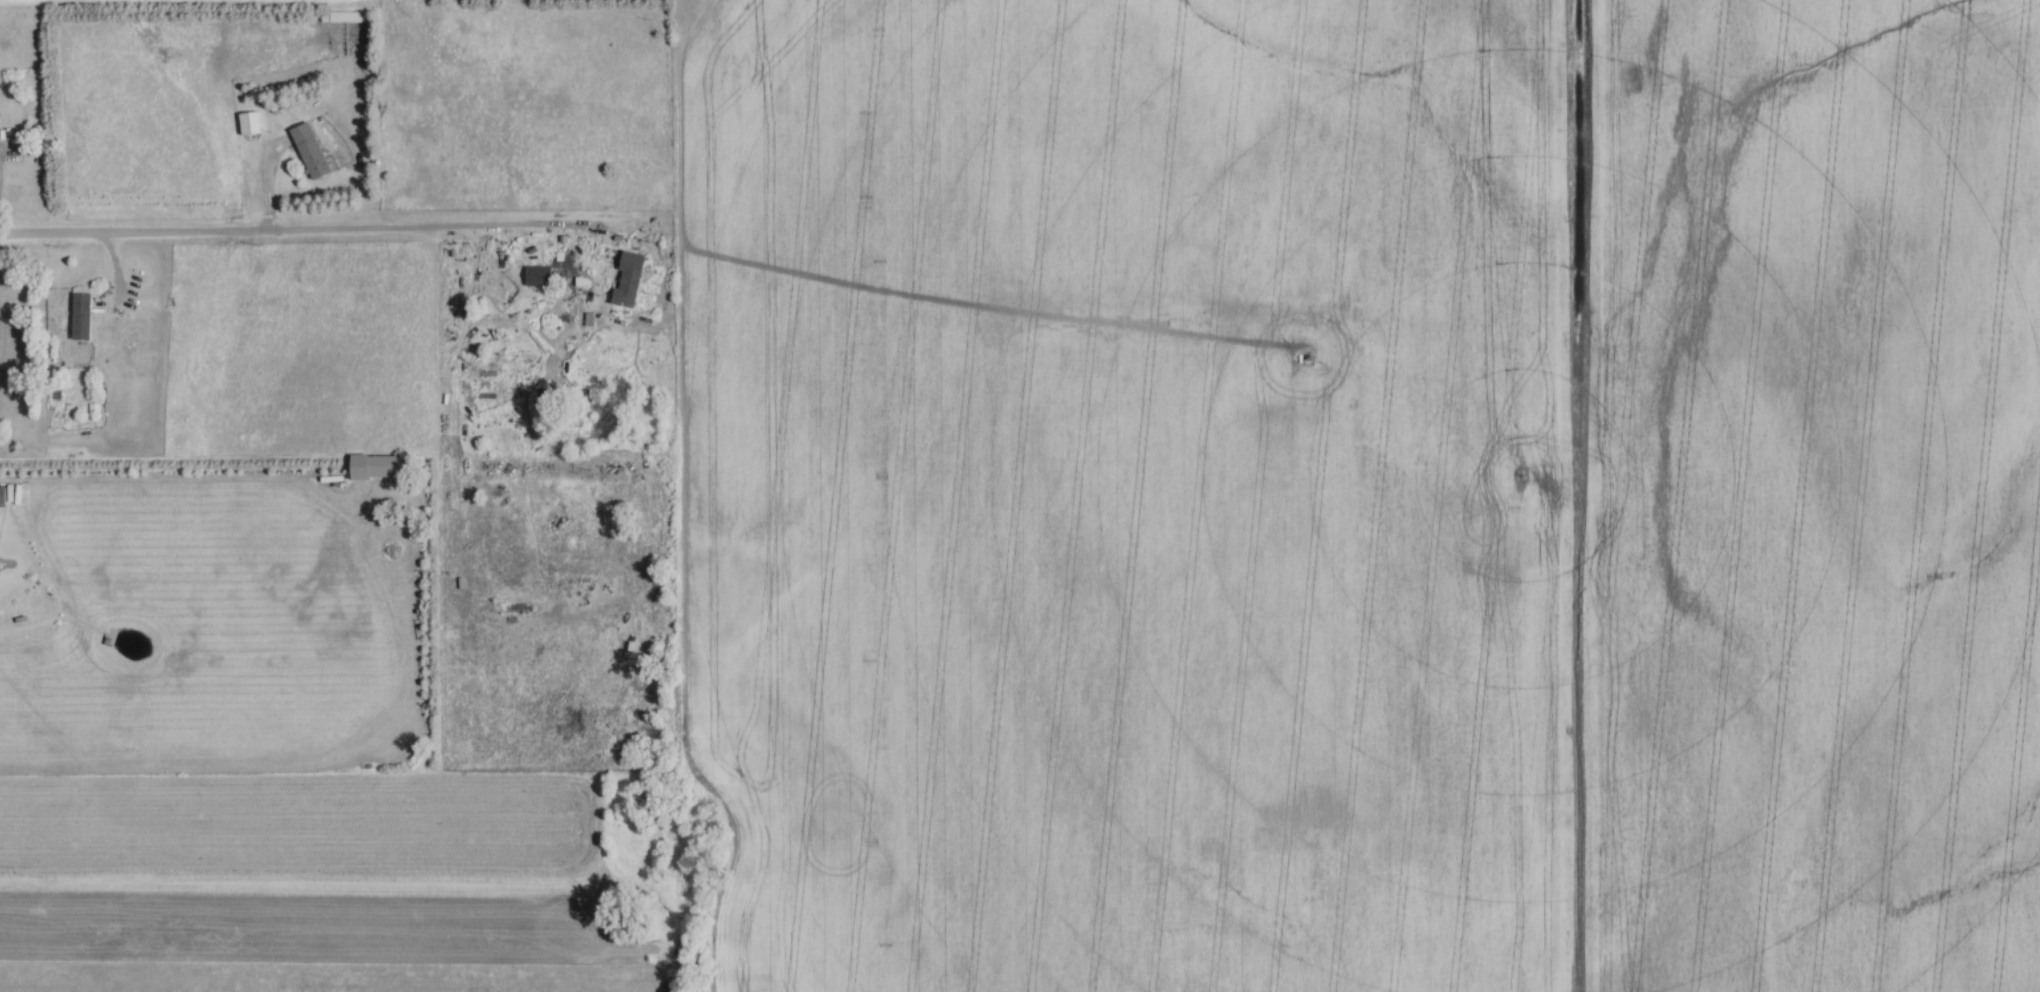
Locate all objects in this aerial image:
building: (341, 16)
building: (246, 123)
building: (306, 150)
road: (277, 231)
building: (534, 276)
building: (625, 280)
building: (78, 317)
building: (379, 466)
building: (0, 497)

